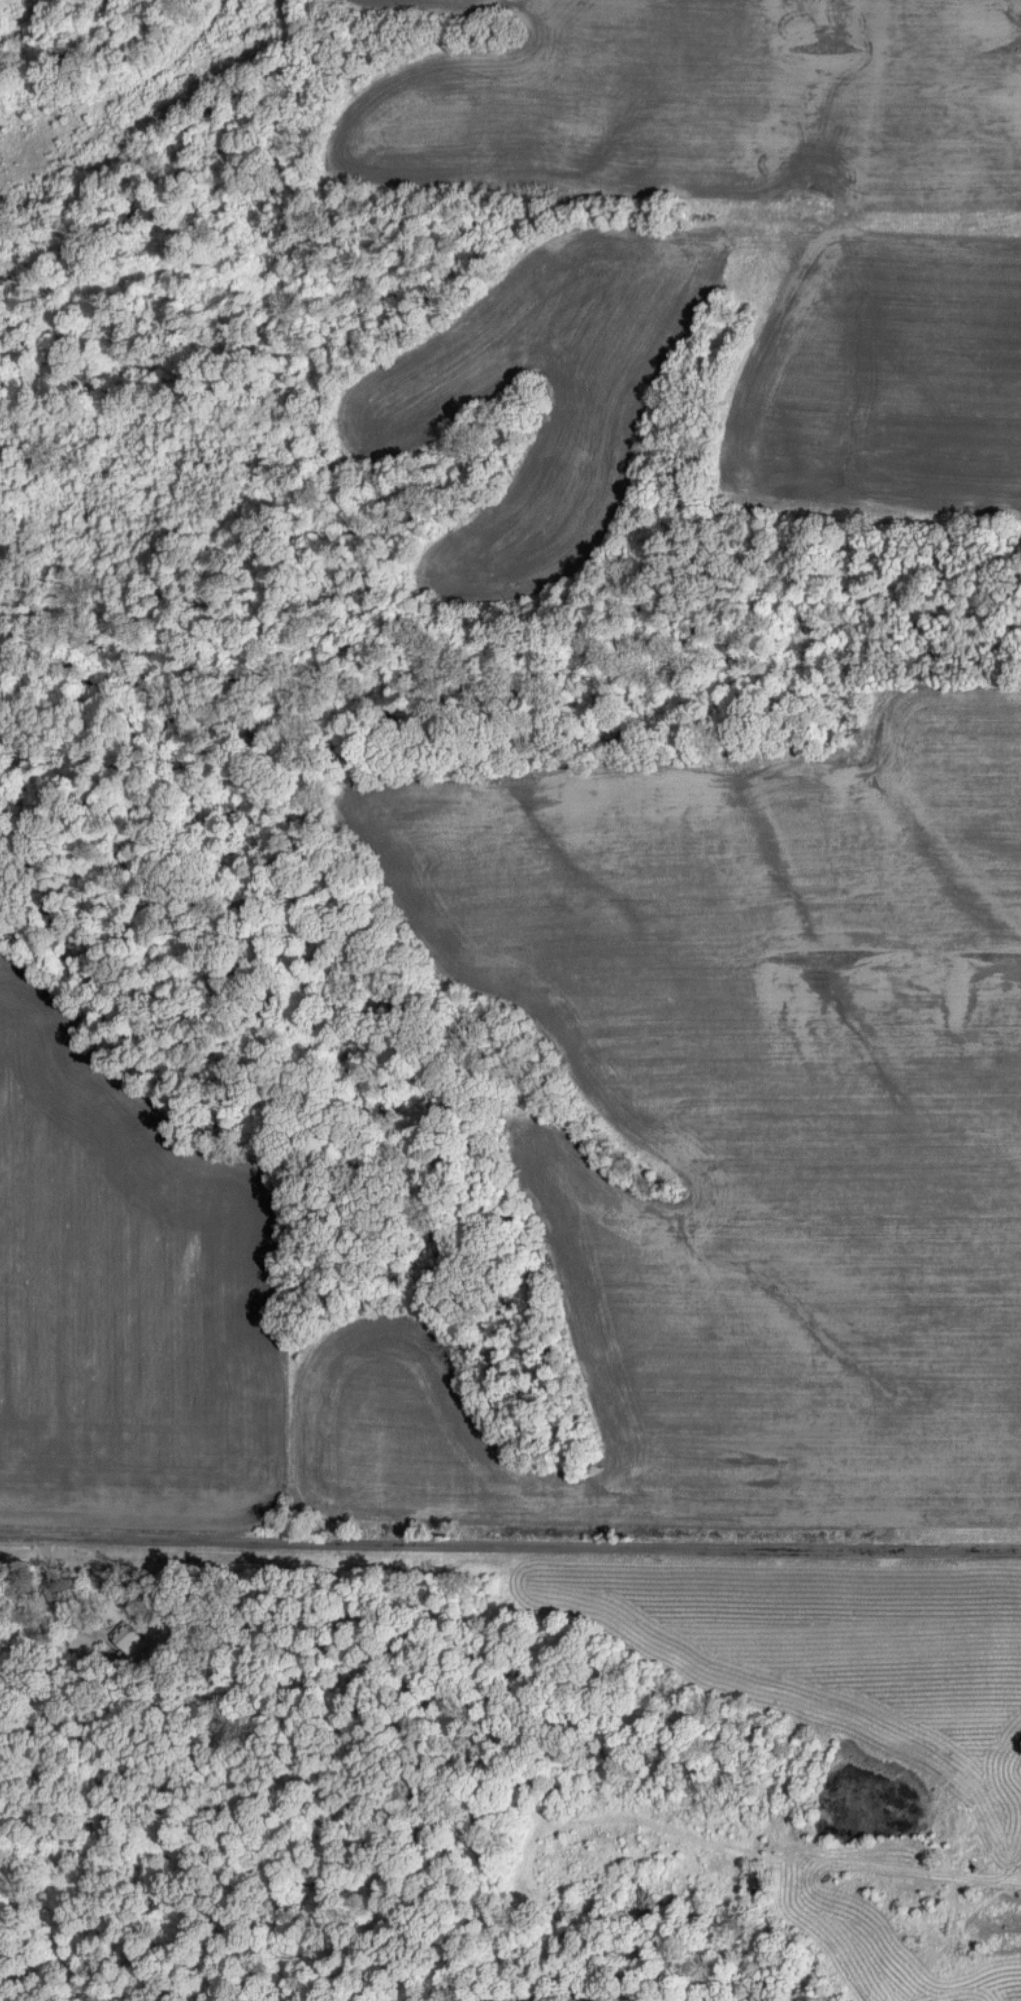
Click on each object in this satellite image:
road: (510, 1539)
building: (128, 1641)
road: (799, 1854)
road: (928, 1863)

